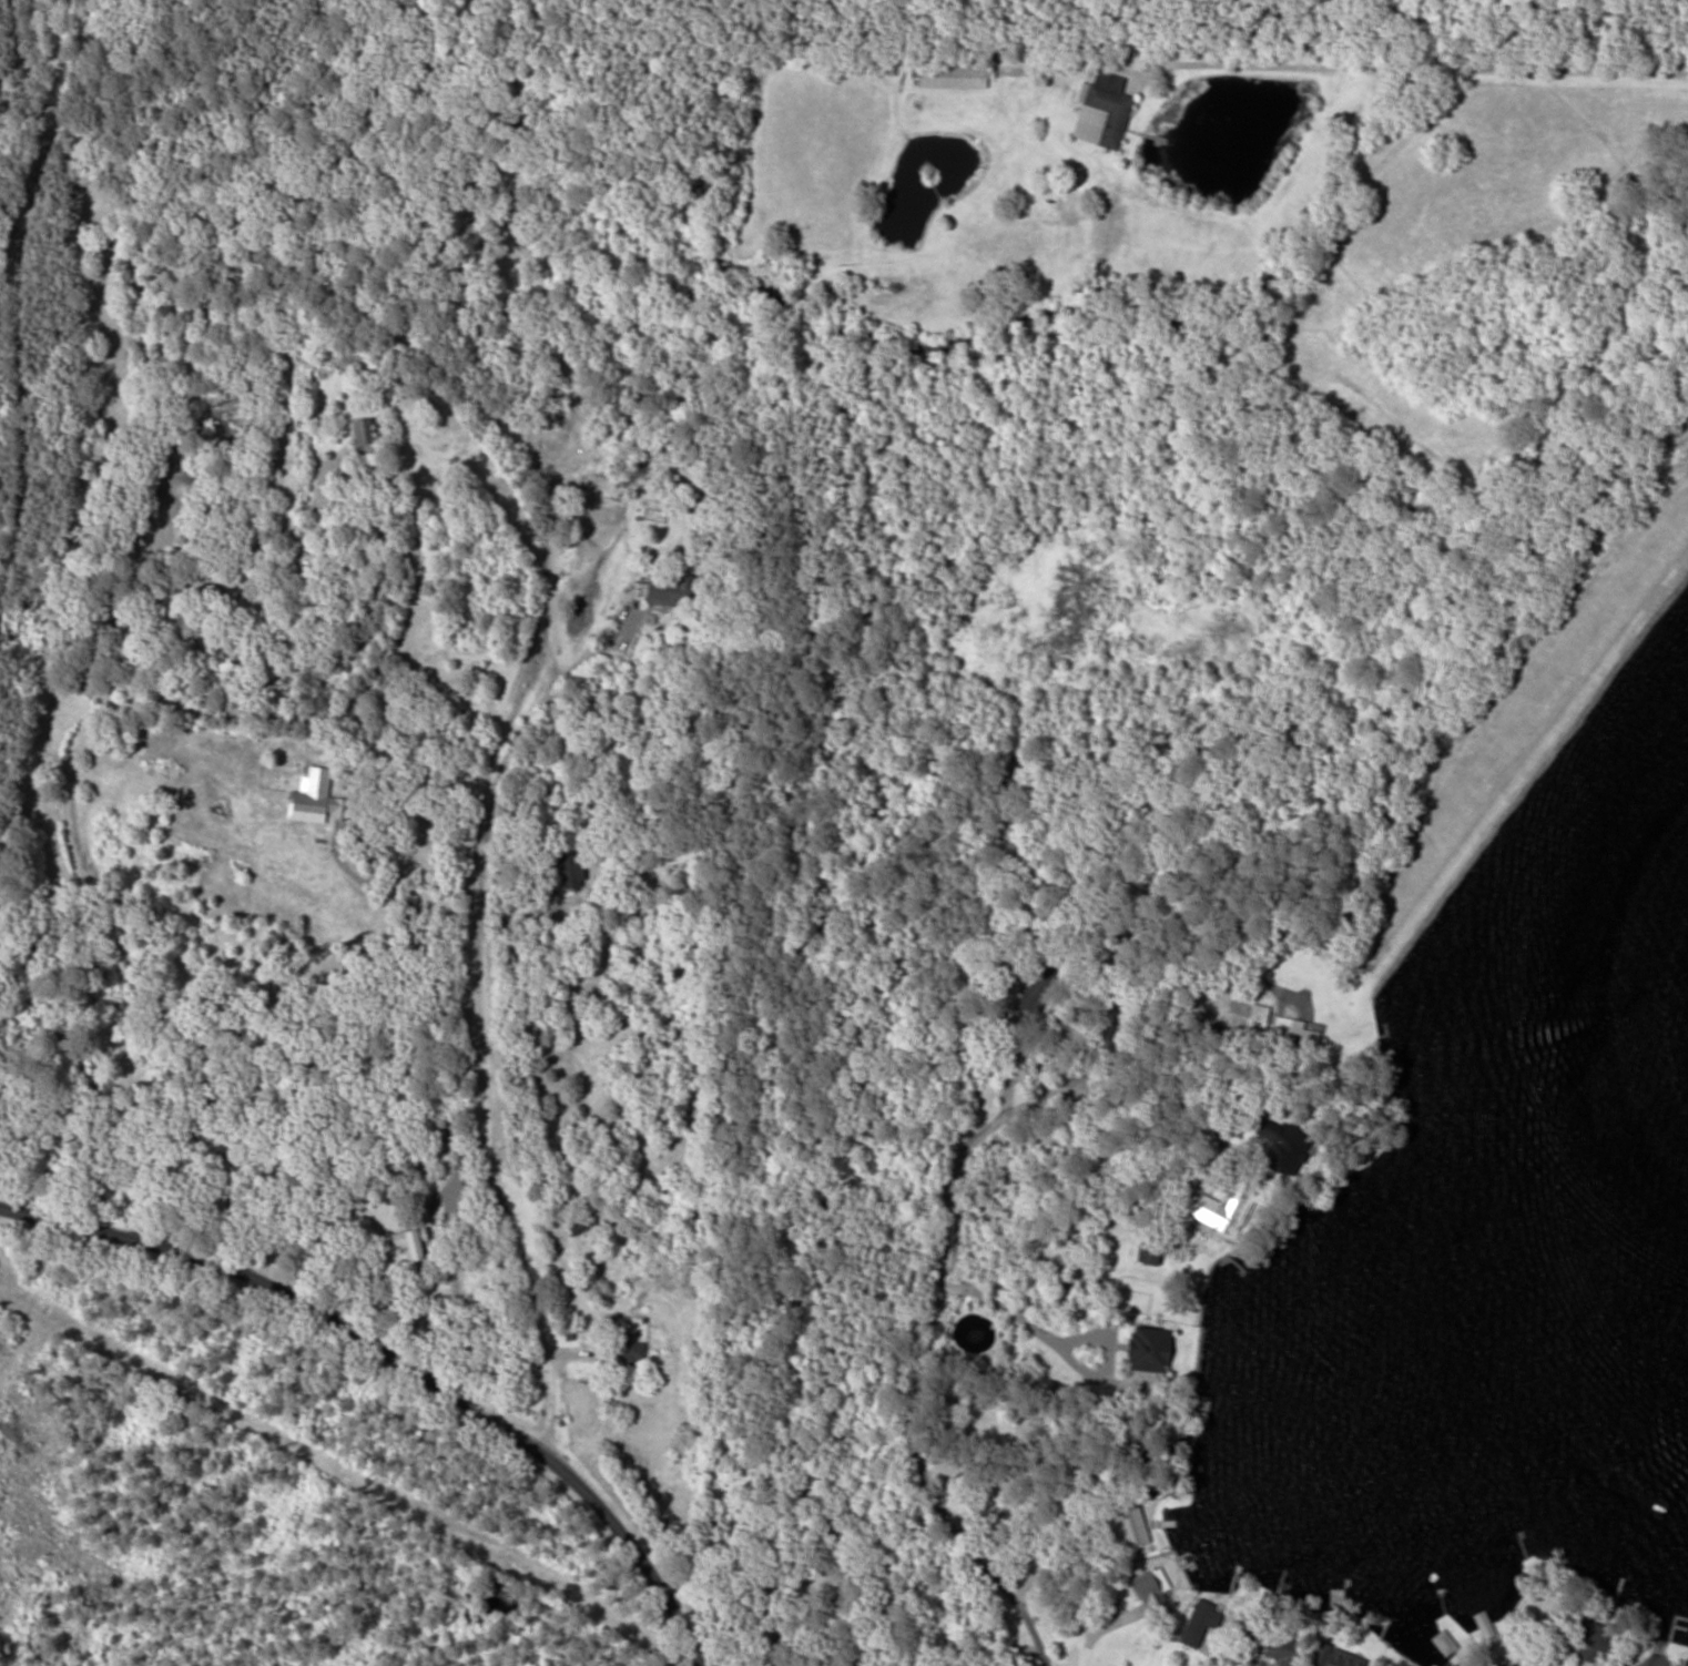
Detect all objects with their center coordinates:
building: (957, 77)
building: (1101, 111)
building: (364, 431)
building: (669, 590)
building: (315, 778)
building: (570, 871)
building: (1255, 1027)
road: (484, 1063)
building: (1293, 1140)
building: (1230, 1206)
building: (581, 1223)
road: (936, 1229)
building: (410, 1243)
building: (1152, 1251)
building: (627, 1350)
building: (1151, 1350)
road: (400, 1362)
building: (1199, 1409)
building: (1133, 1525)
building: (1151, 1592)
building: (1199, 1623)
building: (1590, 1638)
building: (1283, 1650)
building: (1339, 1660)
road: (699, 1665)
building: (1527, 1665)

